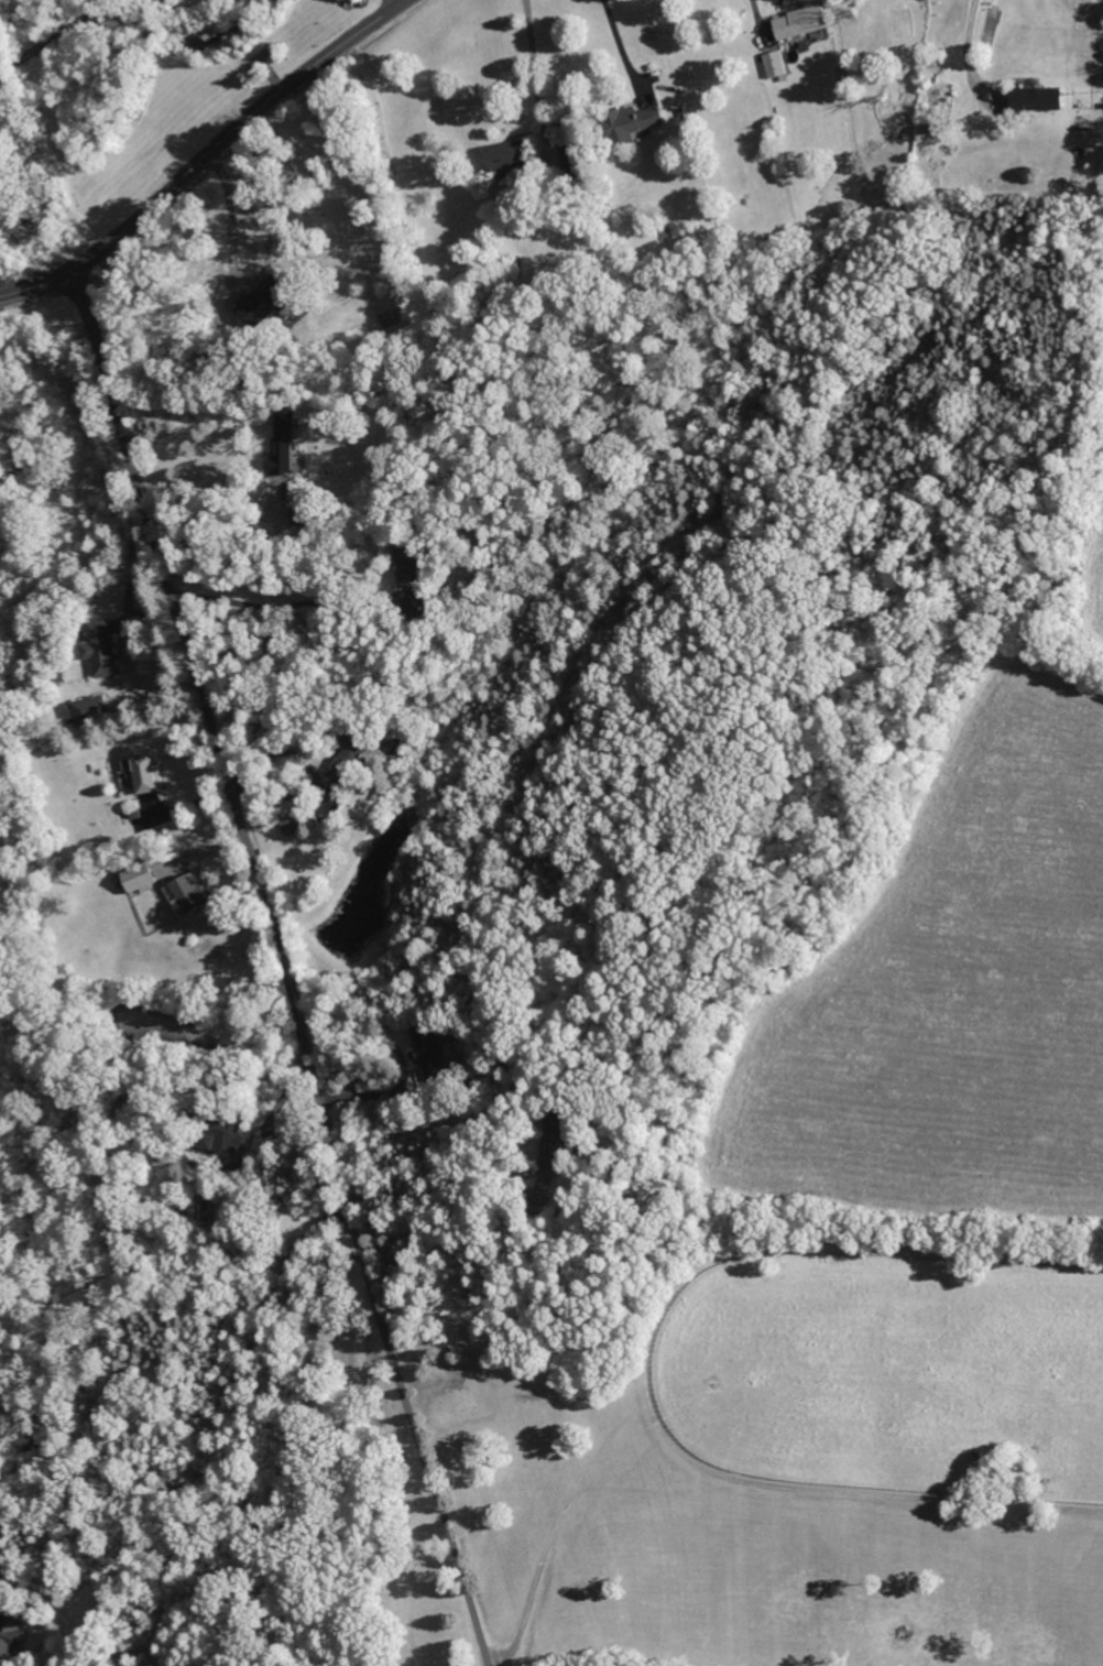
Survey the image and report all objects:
road: (754, 9)
building: (800, 22)
road: (618, 42)
road: (965, 47)
road: (532, 55)
building: (773, 63)
building: (1039, 98)
building: (635, 121)
road: (205, 152)
building: (509, 155)
building: (569, 160)
road: (230, 217)
building: (266, 304)
building: (282, 446)
building: (302, 514)
road: (205, 525)
building: (409, 567)
road: (281, 605)
building: (99, 649)
building: (86, 711)
road: (210, 736)
building: (349, 758)
road: (315, 770)
building: (146, 774)
building: (292, 826)
building: (139, 876)
building: (190, 894)
building: (426, 1047)
building: (130, 1106)
building: (220, 1133)
road: (437, 1194)
road: (223, 1415)
road: (415, 1435)
building: (11, 1633)
road: (83, 1646)
road: (146, 1658)

